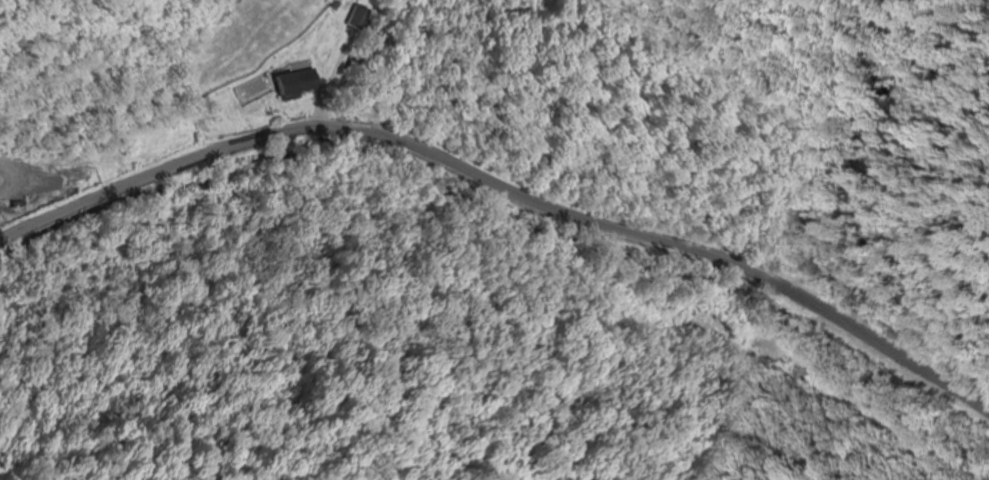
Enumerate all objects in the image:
building: (357, 16)
road: (357, 60)
building: (301, 83)
road: (797, 122)
road: (507, 181)
road: (14, 187)
building: (706, 336)
building: (804, 374)

